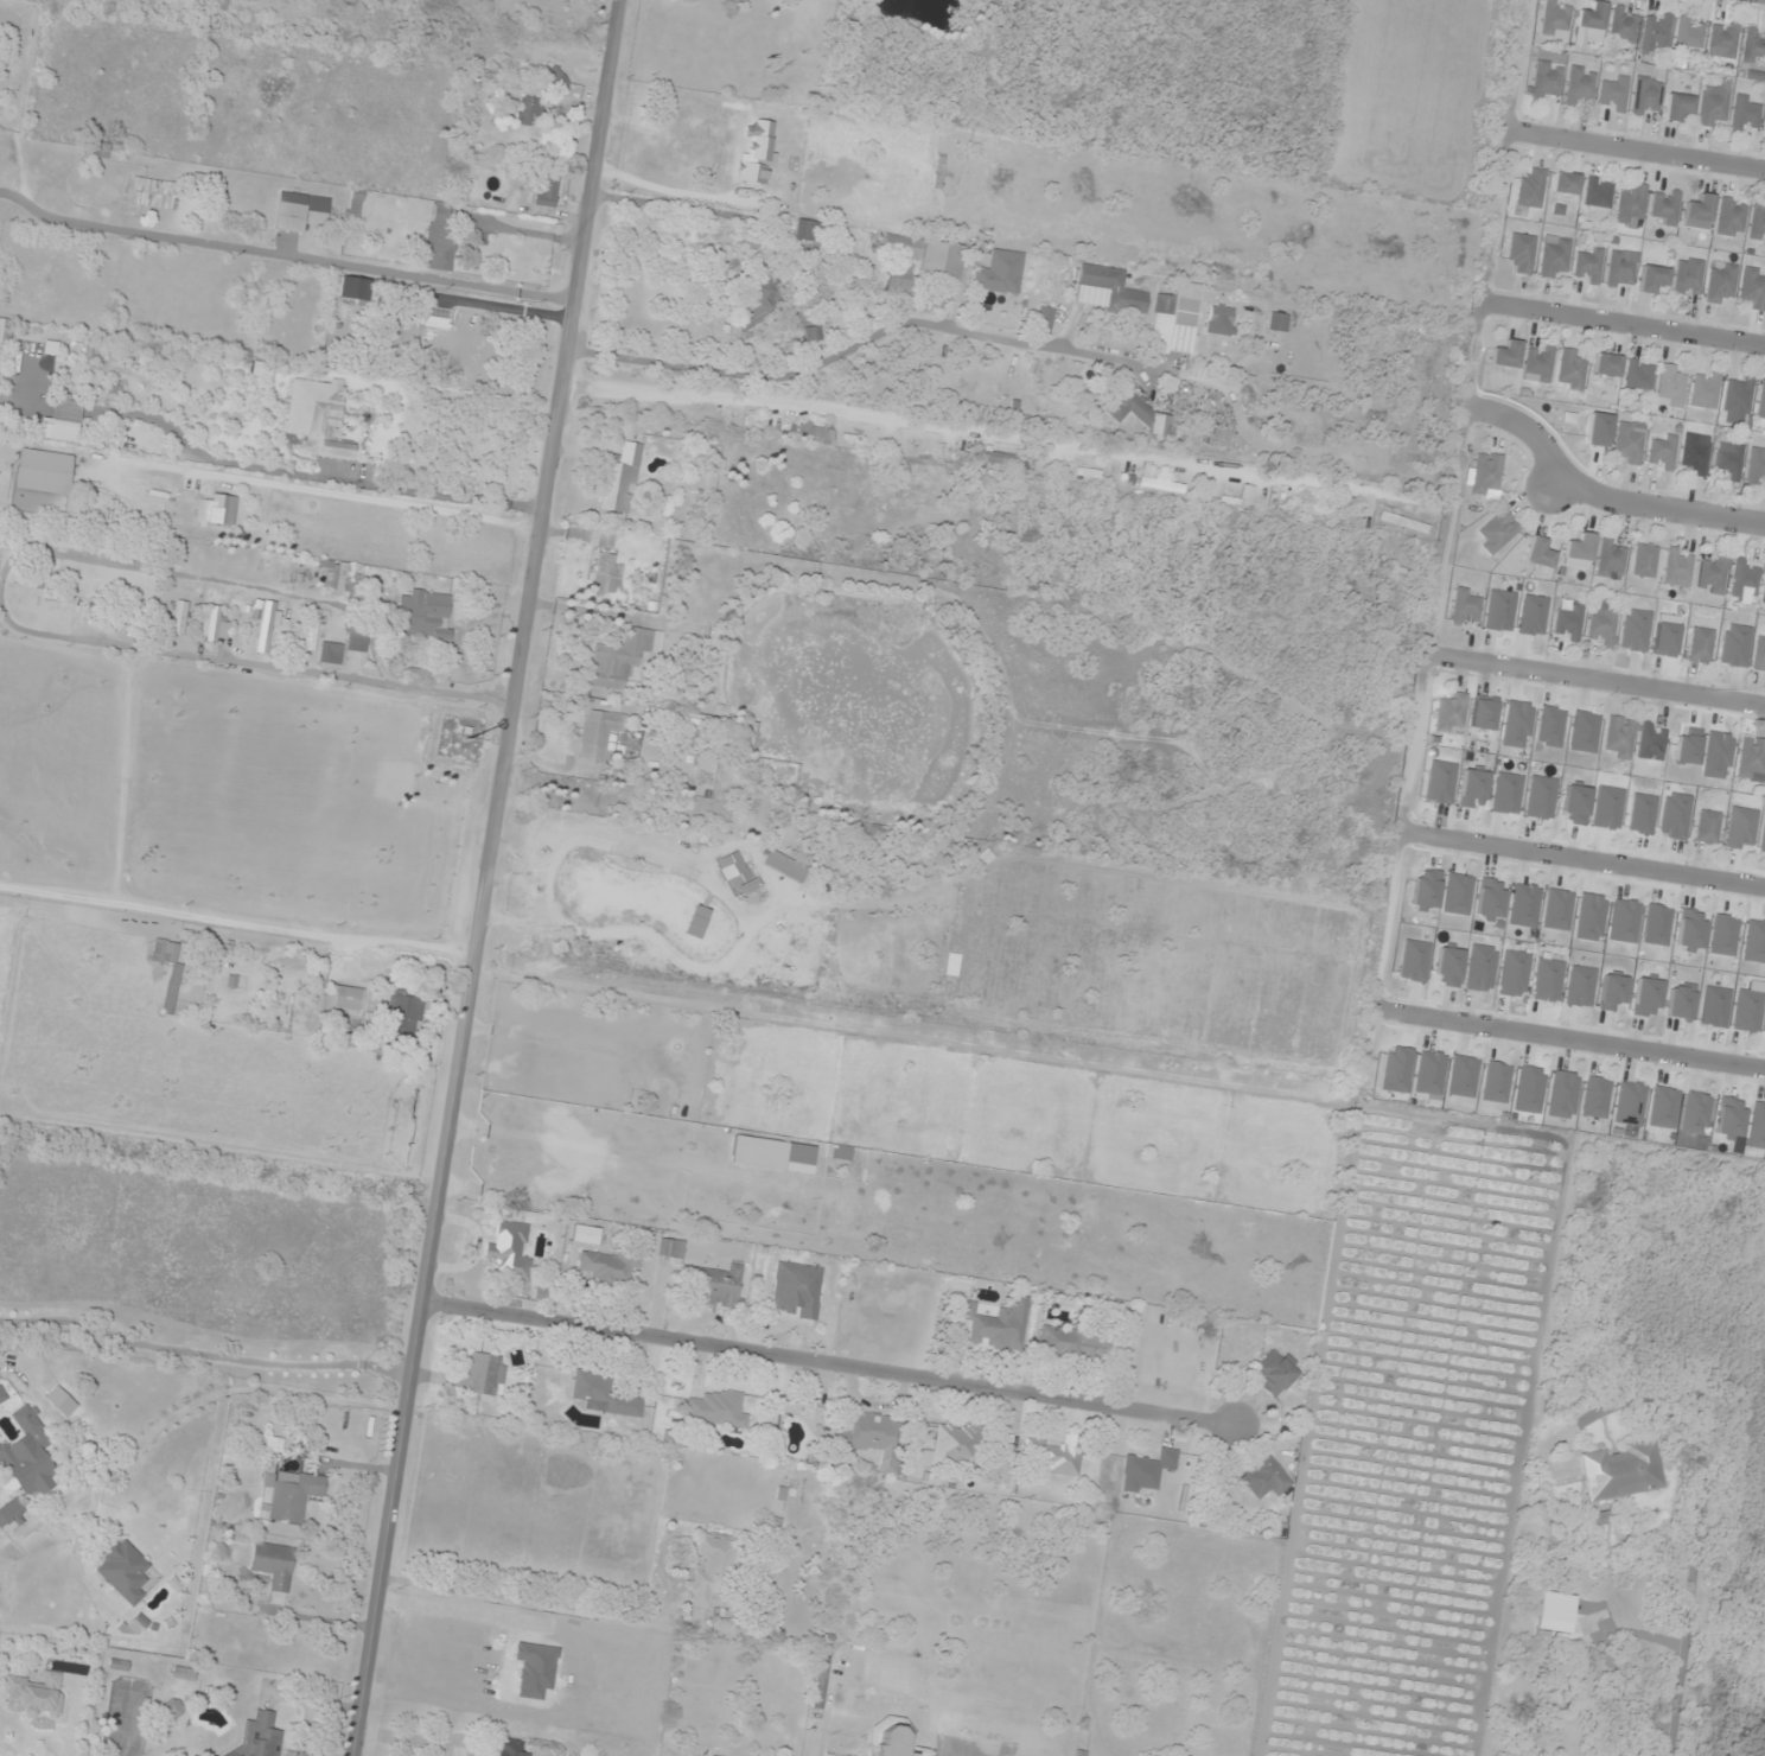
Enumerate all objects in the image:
building: (1592, 17)
building: (1556, 21)
building: (1623, 26)
building: (1657, 33)
building: (1689, 36)
building: (1723, 40)
building: (1753, 46)
building: (556, 79)
building: (1546, 79)
building: (1580, 85)
building: (1614, 95)
building: (1646, 95)
building: (1714, 104)
building: (1678, 107)
building: (529, 112)
building: (1745, 114)
building: (683, 122)
road: (1638, 147)
building: (97, 153)
building: (668, 165)
building: (1565, 184)
building: (1530, 187)
building: (549, 190)
building: (1599, 193)
building: (154, 195)
building: (1631, 206)
building: (1664, 209)
building: (297, 210)
building: (1699, 214)
building: (1731, 218)
building: (1758, 223)
building: (803, 230)
building: (440, 238)
building: (1521, 254)
building: (926, 256)
building: (1554, 257)
building: (1588, 267)
building: (1620, 268)
building: (1000, 274)
building: (1651, 278)
building: (1687, 279)
building: (899, 282)
building: (1721, 282)
building: (346, 288)
building: (1753, 288)
building: (1115, 290)
building: (763, 303)
building: (1178, 318)
building: (1219, 319)
building: (1277, 323)
road: (1626, 324)
building: (27, 327)
building: (414, 330)
building: (5, 331)
building: (811, 335)
building: (1506, 356)
building: (1540, 363)
building: (1606, 365)
building: (1570, 371)
building: (1639, 375)
building: (1671, 387)
building: (1705, 390)
building: (1738, 395)
building: (1761, 405)
building: (1136, 412)
building: (317, 419)
building: (62, 424)
building: (814, 433)
building: (1629, 444)
building: (1662, 452)
building: (1695, 456)
building: (996, 459)
building: (1727, 463)
building: (1757, 466)
building: (1486, 475)
building: (44, 479)
building: (620, 479)
building: (1162, 486)
building: (820, 489)
building: (911, 497)
road: (1605, 500)
building: (215, 510)
building: (1325, 513)
building: (1404, 523)
building: (1497, 533)
building: (1580, 548)
building: (1538, 554)
building: (1611, 559)
building: (1644, 560)
building: (269, 567)
building: (1677, 568)
building: (603, 574)
building: (1712, 575)
building: (342, 578)
building: (1744, 579)
building: (34, 597)
building: (142, 597)
building: (1764, 597)
building: (1465, 607)
building: (423, 616)
building: (179, 618)
building: (1600, 623)
building: (1568, 624)
building: (214, 626)
building: (266, 628)
building: (312, 631)
building: (357, 641)
building: (1700, 645)
building: (330, 654)
building: (622, 657)
road: (1600, 680)
building: (1451, 714)
building: (598, 734)
building: (1618, 738)
building: (1650, 743)
building: (1751, 758)
building: (1706, 827)
building: (1740, 829)
road: (1585, 858)
road: (485, 878)
building: (1425, 889)
building: (1754, 942)
building: (222, 949)
building: (176, 981)
building: (346, 998)
building: (403, 1017)
road: (1576, 1039)
building: (1396, 1070)
building: (1530, 1090)
building: (1563, 1095)
building: (1597, 1097)
building: (1630, 1103)
building: (1664, 1108)
building: (1695, 1113)
building: (1731, 1118)
building: (1757, 1126)
building: (671, 1248)
building: (509, 1252)
building: (605, 1267)
building: (716, 1286)
building: (796, 1290)
building: (996, 1325)
building: (1073, 1345)
building: (1274, 1373)
building: (484, 1376)
building: (2, 1394)
building: (604, 1395)
building: (715, 1410)
building: (874, 1437)
building: (956, 1445)
building: (1056, 1456)
building: (27, 1458)
building: (1147, 1471)
building: (1621, 1471)
building: (1264, 1477)
building: (289, 1488)
building: (11, 1513)
building: (273, 1565)
building: (713, 1571)
building: (126, 1572)
building: (136, 1624)
building: (1587, 1624)
building: (183, 1673)
building: (820, 1687)
building: (34, 1695)
building: (261, 1736)
building: (893, 1738)
building: (510, 1748)
building: (218, 1755)
building: (829, 1755)

